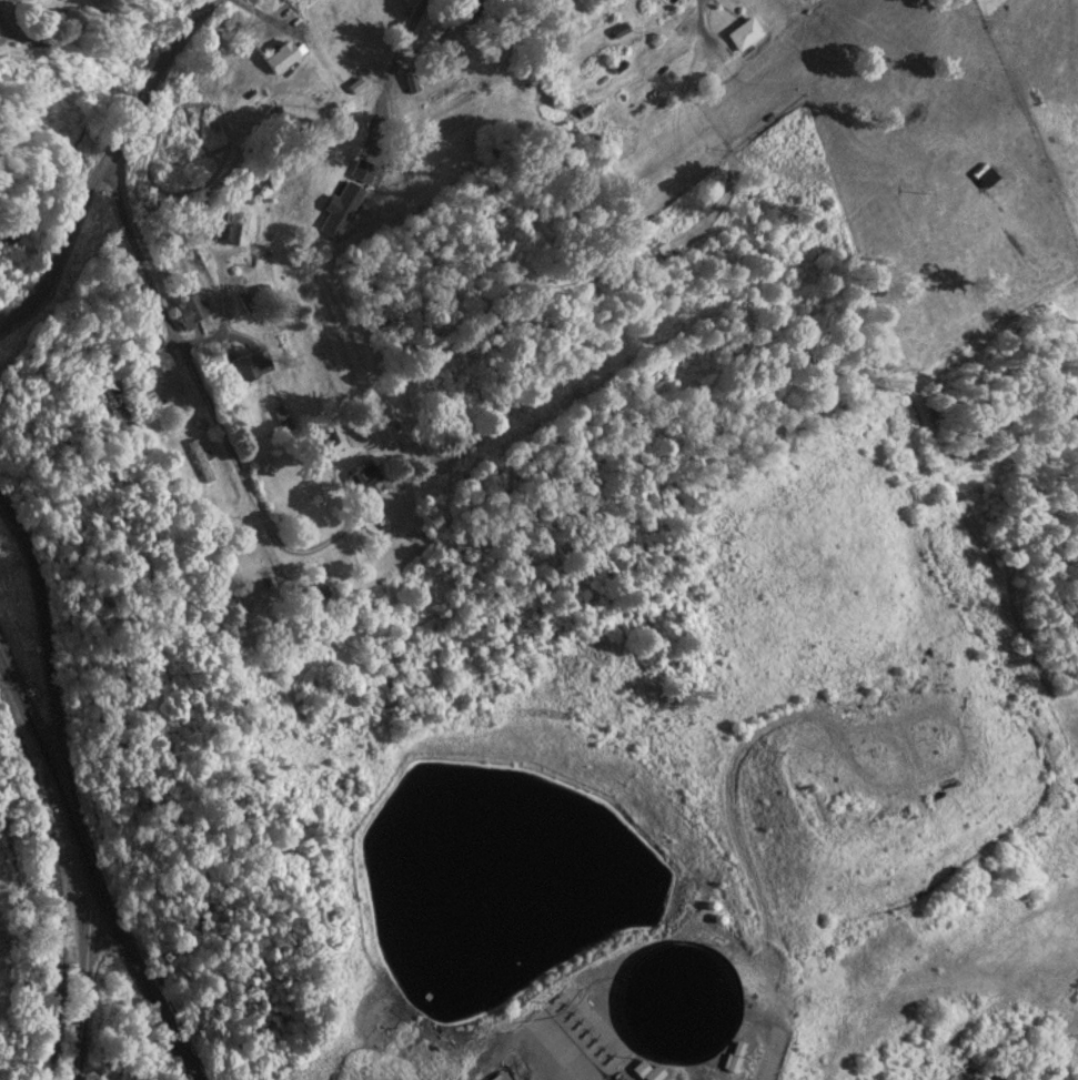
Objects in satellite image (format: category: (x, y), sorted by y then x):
road: (8, 0)
building: (746, 36)
building: (283, 58)
road: (632, 58)
road: (104, 165)
building: (989, 178)
building: (232, 228)
building: (192, 313)
road: (221, 325)
building: (249, 370)
road: (202, 395)
building: (201, 463)
building: (366, 478)
railway: (12, 724)
road: (40, 743)
road: (72, 779)
railway: (62, 914)
road: (147, 951)
building: (739, 1058)

